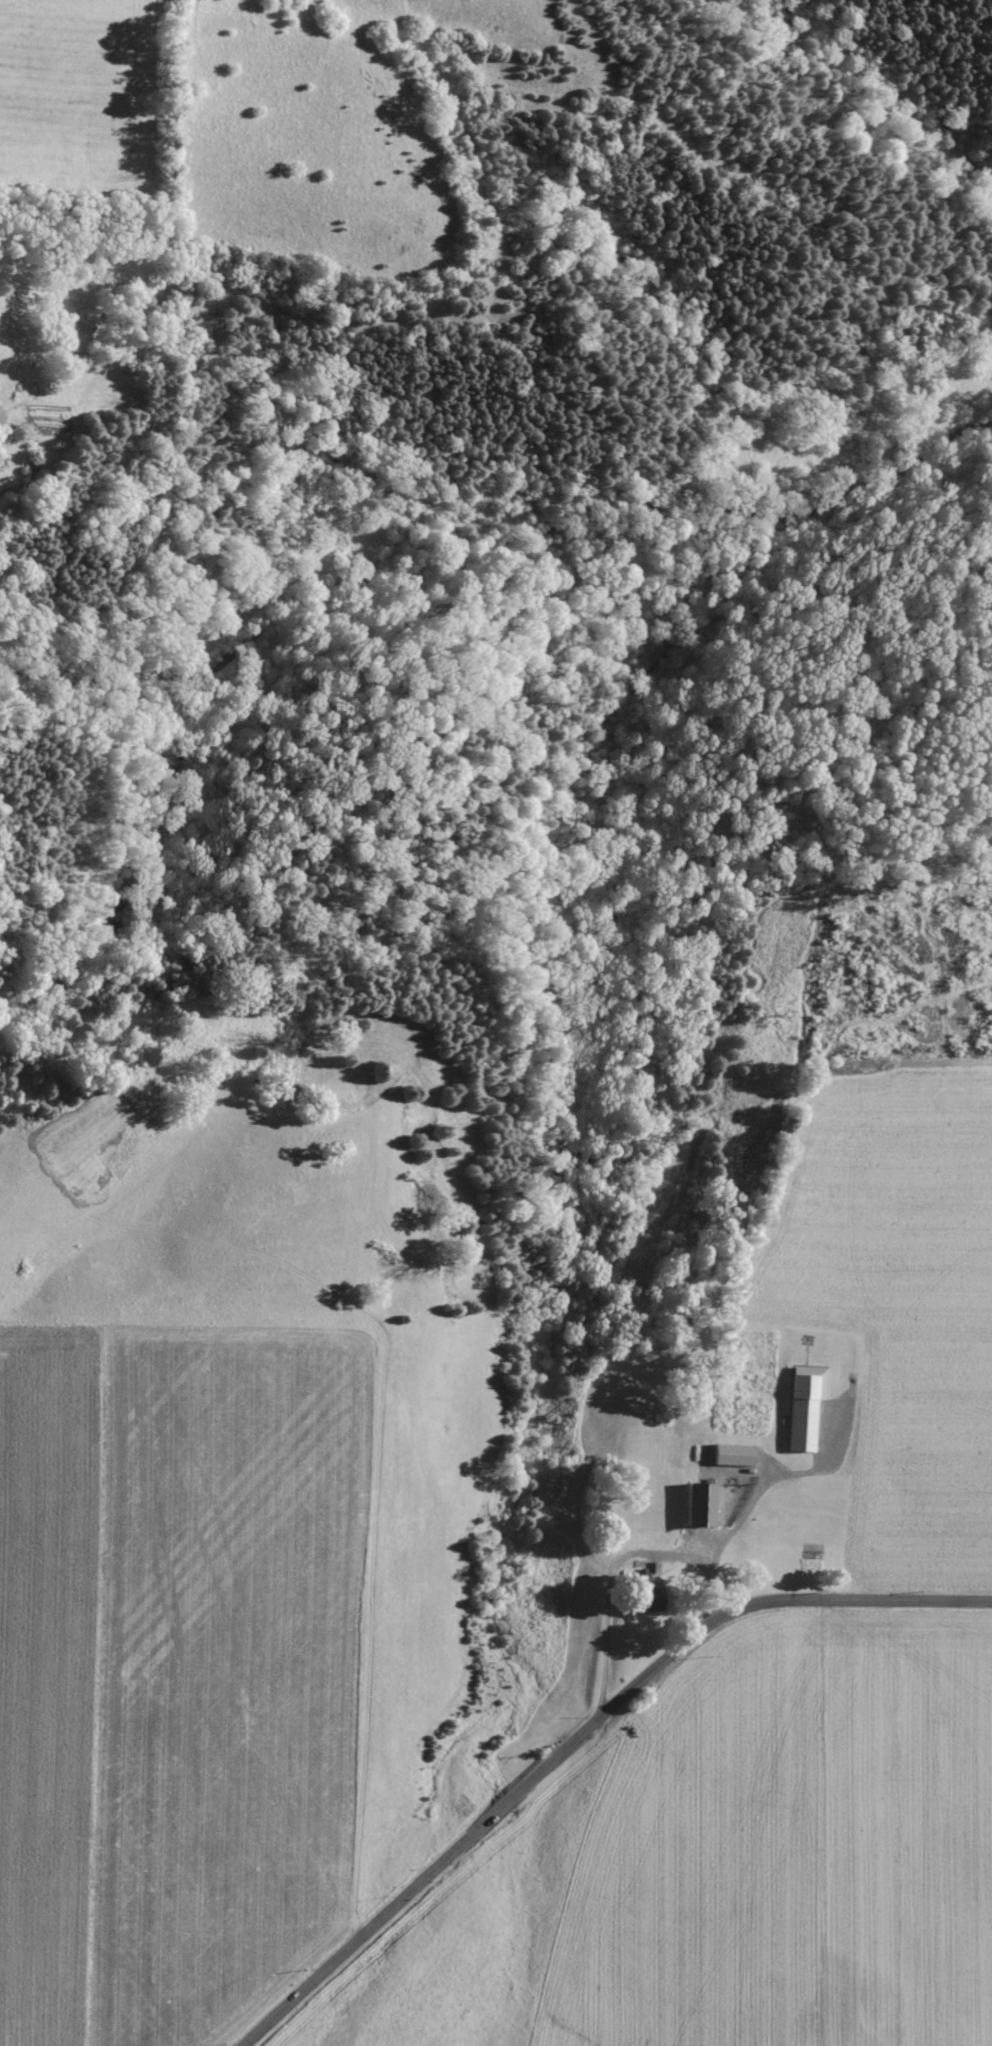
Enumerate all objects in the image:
building: (804, 1408)
building: (733, 1454)
building: (701, 1505)
road: (615, 1567)
road: (580, 1735)

